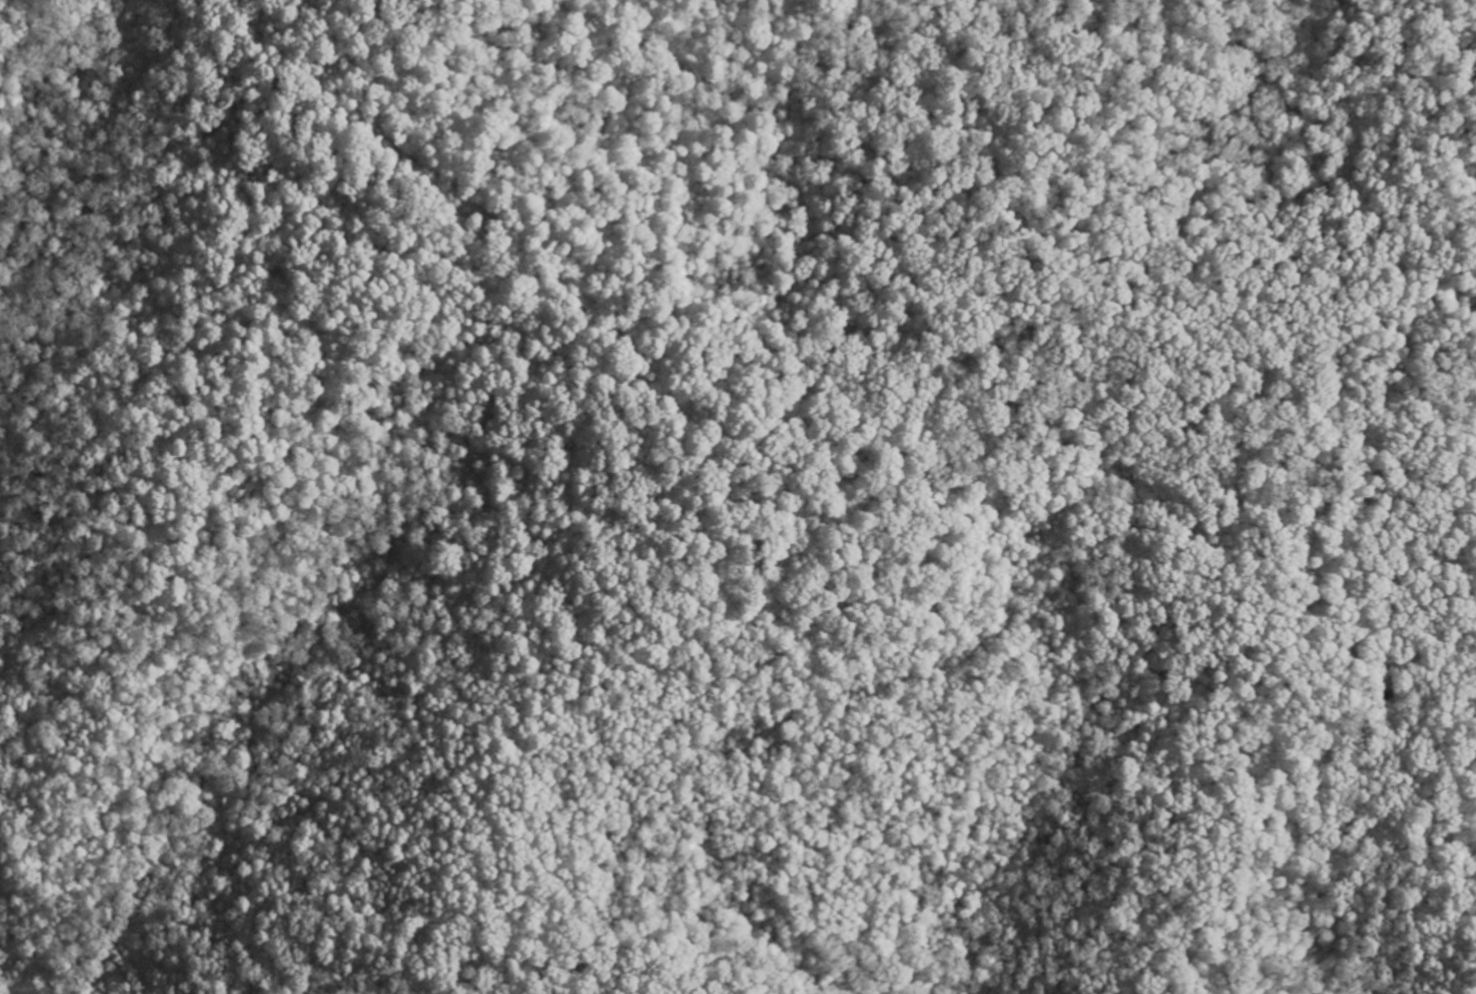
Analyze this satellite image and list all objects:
road: (833, 482)

